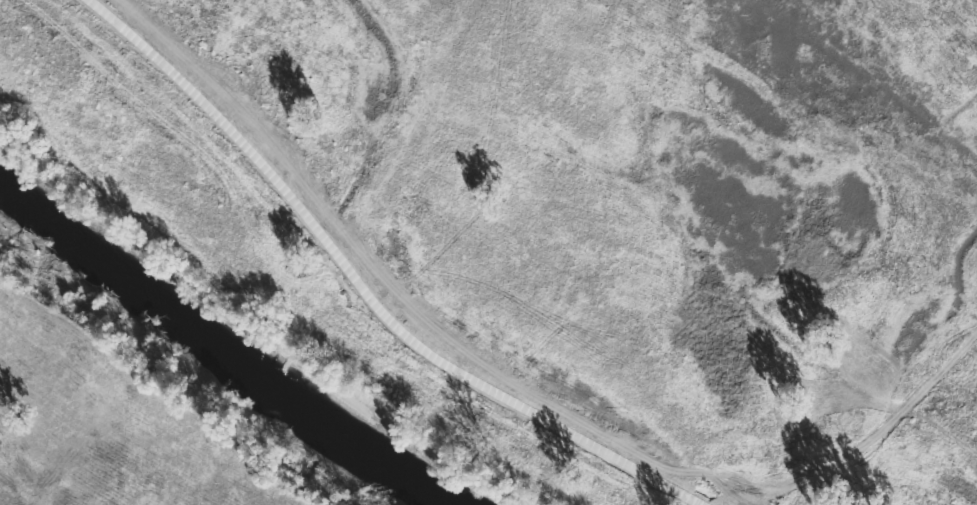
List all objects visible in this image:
park: (488, 252)
river: (234, 351)

